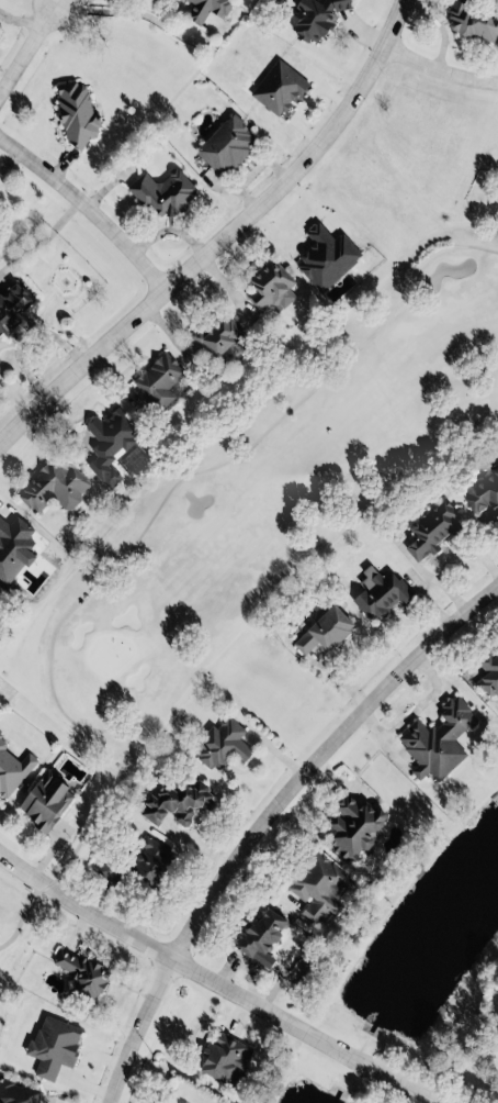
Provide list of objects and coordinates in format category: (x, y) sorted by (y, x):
building: (203, 8)
road: (106, 11)
building: (313, 18)
building: (469, 21)
road: (24, 45)
road: (440, 59)
building: (276, 86)
road: (302, 100)
building: (75, 113)
building: (226, 144)
road: (9, 154)
building: (161, 191)
road: (90, 198)
road: (301, 223)
road: (222, 235)
building: (324, 250)
building: (267, 286)
building: (10, 305)
building: (216, 336)
building: (156, 380)
building: (106, 443)
road: (193, 477)
building: (50, 484)
building: (482, 490)
building: (430, 526)
building: (13, 545)
building: (377, 590)
building: (324, 630)
building: (487, 672)
building: (435, 738)
building: (1, 740)
building: (220, 743)
building: (11, 771)
building: (43, 799)
building: (173, 801)
road: (270, 814)
building: (352, 826)
road: (89, 827)
building: (148, 858)
building: (105, 870)
building: (315, 885)
building: (258, 934)
building: (80, 970)
road: (218, 980)
building: (46, 1048)
building: (220, 1056)
building: (497, 1089)
building: (19, 1092)

